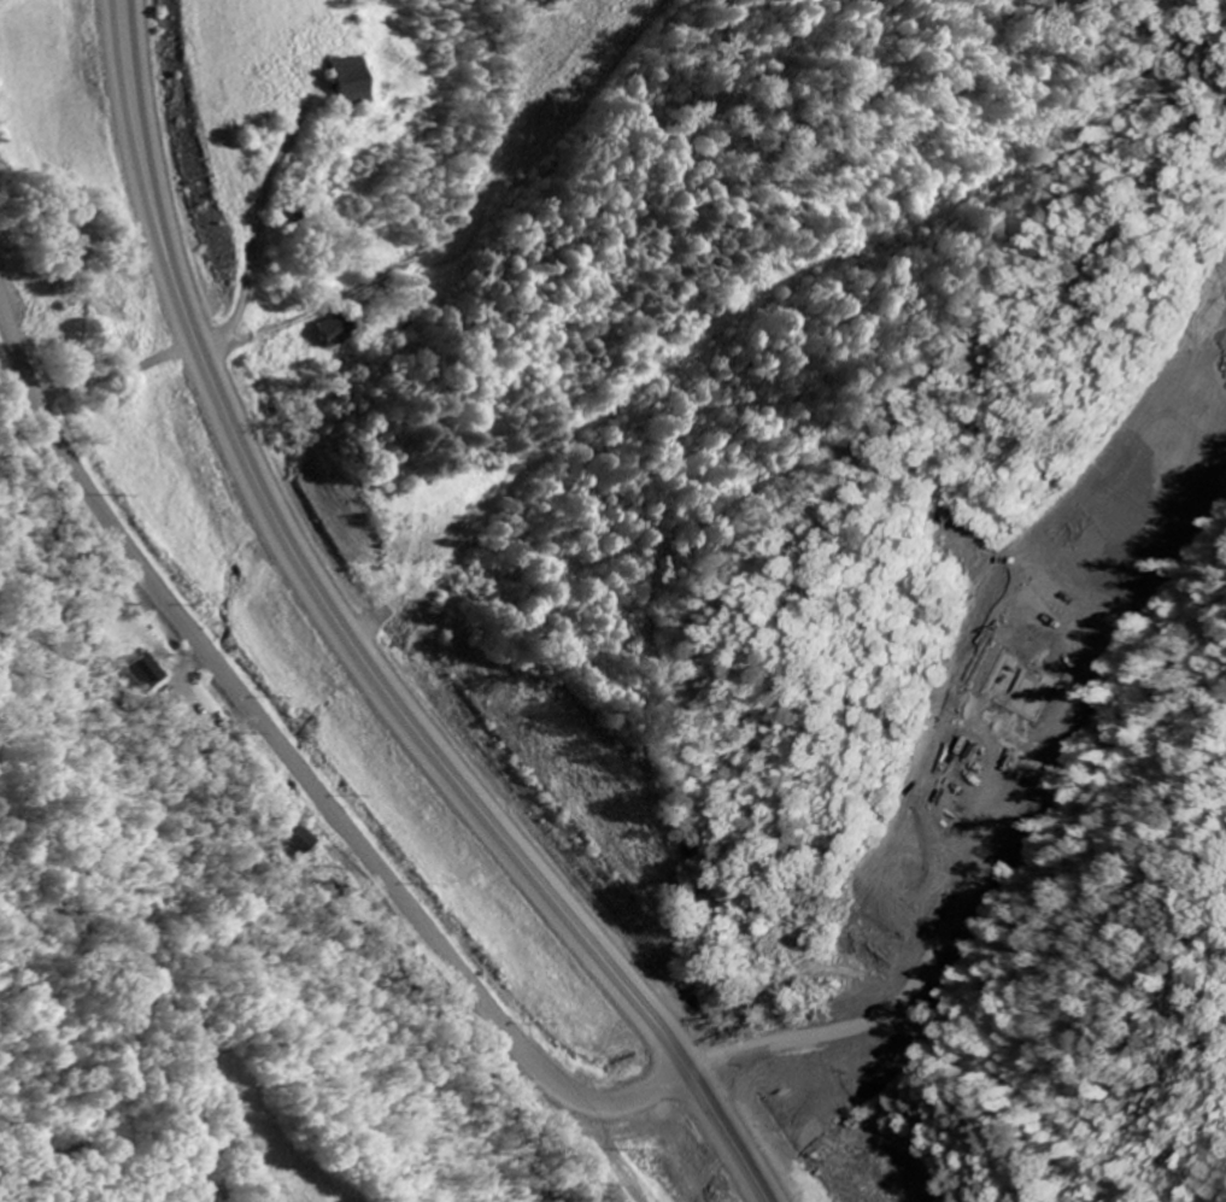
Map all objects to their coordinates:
building: (354, 83)
building: (341, 330)
road: (356, 650)
building: (148, 674)
road: (295, 767)
road: (170, 1173)
road: (213, 1175)

